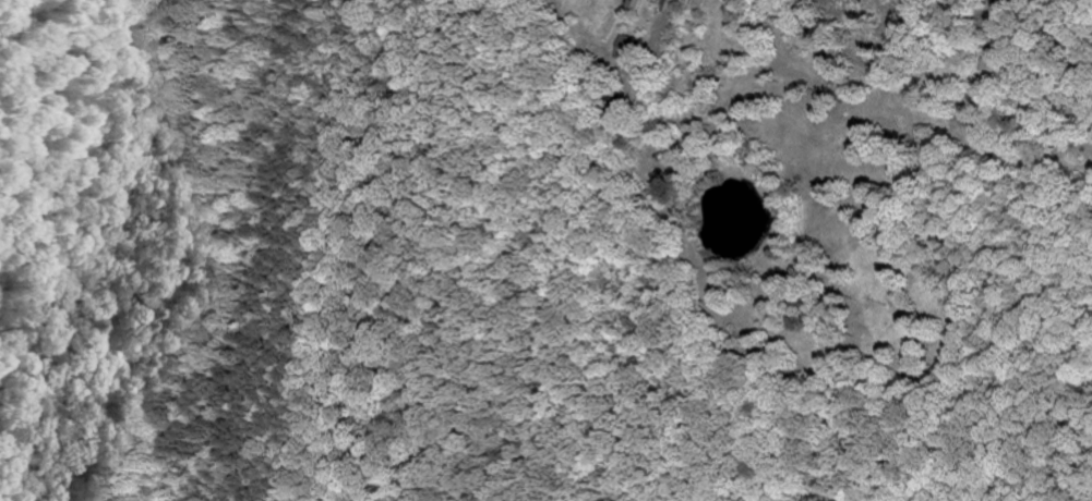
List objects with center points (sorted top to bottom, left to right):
building: (636, 4)
road: (856, 64)

